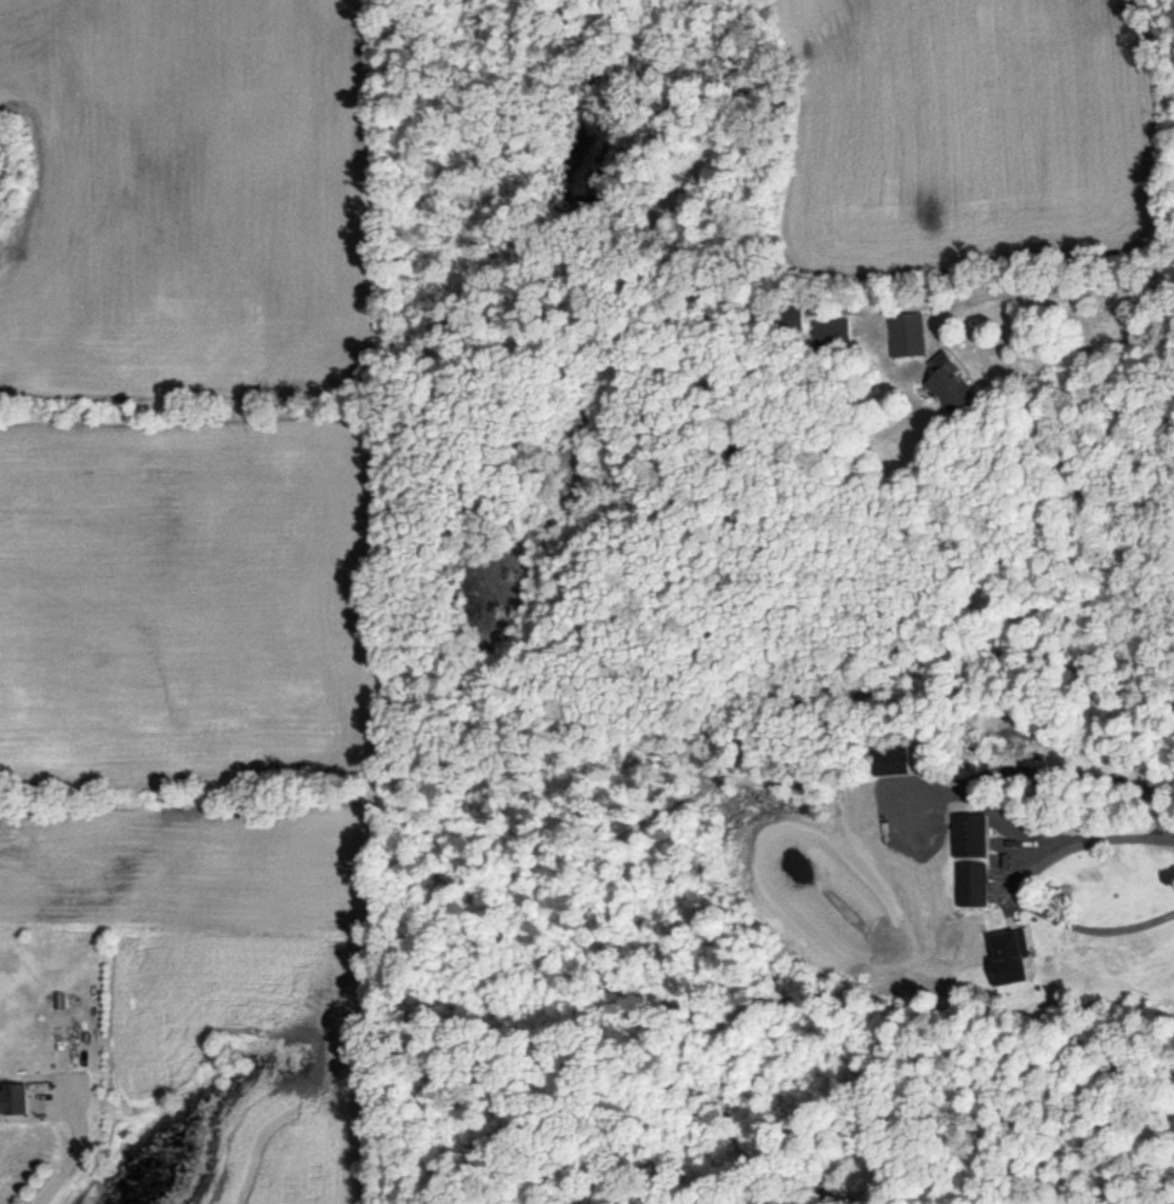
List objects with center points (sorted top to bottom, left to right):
road: (1081, 290)
building: (793, 316)
building: (833, 331)
building: (907, 333)
building: (951, 382)
building: (891, 760)
building: (970, 834)
building: (971, 883)
road: (1018, 888)
building: (1009, 957)
building: (15, 1099)
road: (75, 1148)

